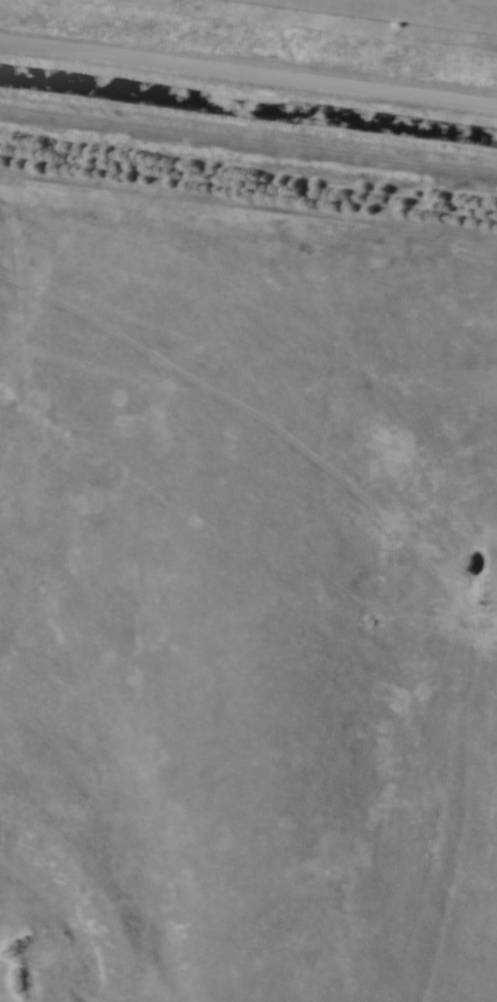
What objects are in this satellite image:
road: (248, 70)

